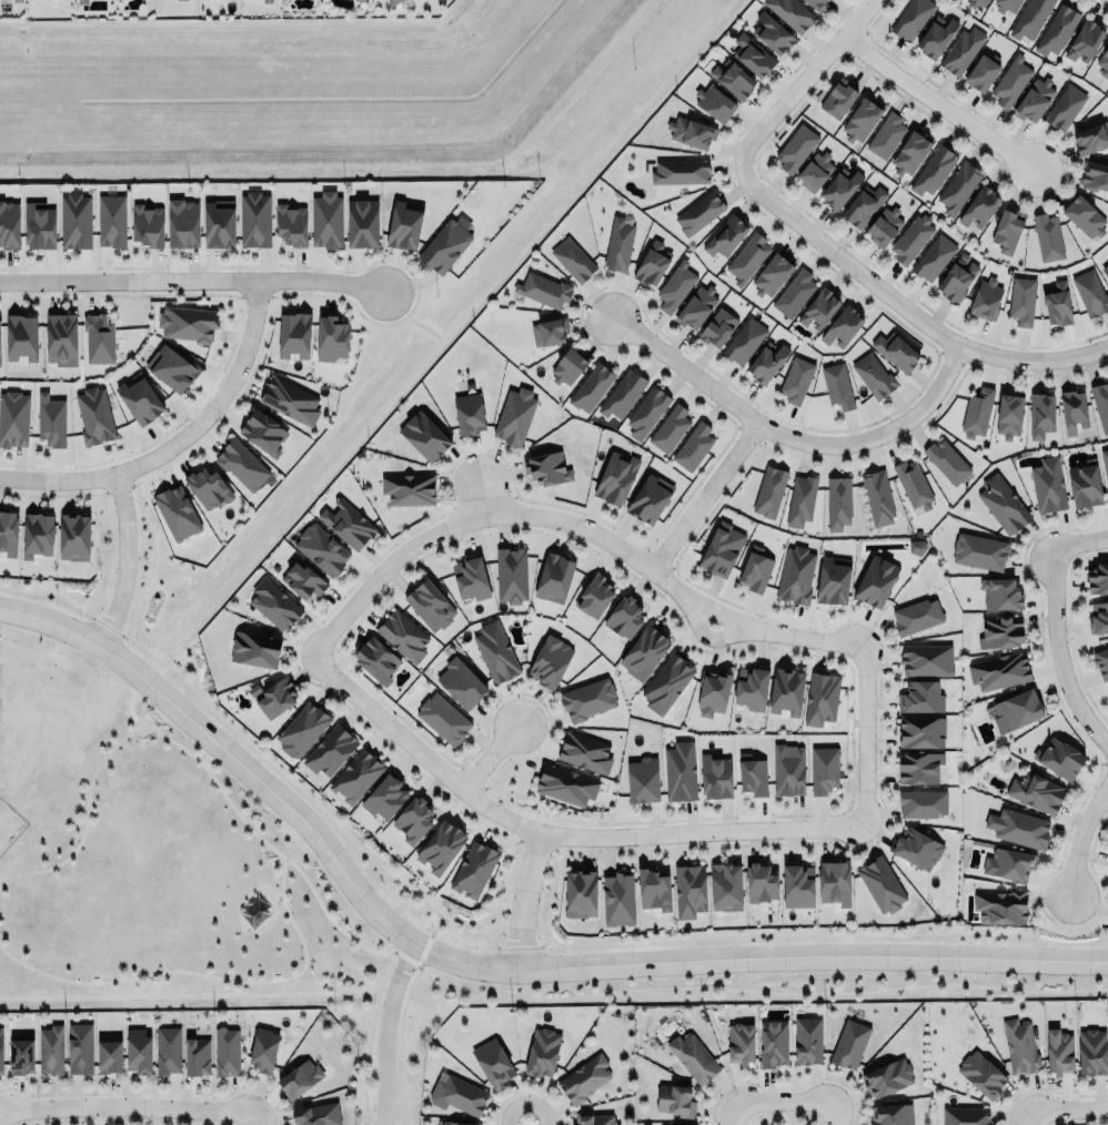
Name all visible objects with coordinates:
building: (181, 0)
building: (354, 0)
building: (82, 1)
building: (393, 1)
building: (976, 2)
building: (815, 3)
building: (1007, 4)
building: (790, 12)
building: (911, 18)
building: (1030, 18)
building: (1057, 30)
building: (772, 33)
building: (936, 36)
building: (1085, 40)
building: (961, 50)
building: (752, 54)
building: (1104, 61)
building: (981, 73)
building: (733, 78)
road: (803, 79)
building: (1010, 81)
building: (838, 97)
building: (1035, 98)
road: (938, 101)
building: (714, 102)
building: (1065, 105)
building: (862, 119)
building: (691, 132)
building: (886, 135)
building: (1091, 138)
building: (795, 148)
building: (909, 152)
building: (681, 170)
building: (933, 170)
building: (814, 171)
building: (1095, 175)
building: (958, 186)
building: (839, 187)
building: (863, 205)
building: (979, 206)
building: (699, 212)
building: (1084, 215)
building: (255, 219)
building: (326, 219)
building: (75, 221)
building: (111, 221)
building: (363, 222)
building: (183, 223)
building: (403, 223)
building: (147, 224)
building: (291, 224)
building: (9, 225)
building: (39, 225)
building: (218, 225)
building: (884, 225)
building: (1007, 230)
building: (726, 235)
building: (1047, 236)
building: (911, 239)
building: (445, 242)
building: (617, 242)
building: (934, 256)
building: (1107, 256)
building: (748, 257)
building: (573, 260)
building: (652, 263)
building: (1105, 268)
building: (772, 275)
road: (192, 277)
building: (956, 278)
building: (675, 285)
building: (543, 288)
building: (1090, 292)
building: (794, 293)
building: (986, 298)
building: (1023, 300)
building: (1056, 302)
road: (903, 305)
building: (696, 306)
building: (819, 308)
building: (187, 323)
building: (843, 325)
building: (717, 327)
building: (548, 332)
building: (294, 334)
building: (21, 336)
building: (331, 337)
building: (61, 338)
building: (98, 338)
building: (744, 341)
building: (896, 351)
building: (766, 362)
building: (0, 365)
building: (567, 366)
building: (171, 367)
building: (873, 375)
building: (795, 379)
building: (837, 385)
building: (592, 387)
building: (622, 394)
building: (140, 398)
building: (290, 401)
building: (1100, 404)
building: (1072, 409)
building: (646, 412)
building: (469, 413)
building: (977, 413)
building: (513, 414)
building: (1041, 414)
building: (94, 415)
building: (1009, 415)
building: (13, 418)
building: (51, 420)
building: (669, 428)
building: (263, 432)
road: (788, 433)
building: (424, 436)
road: (178, 438)
building: (693, 446)
building: (946, 460)
building: (1105, 463)
building: (241, 464)
building: (547, 467)
building: (616, 478)
building: (913, 484)
road: (320, 485)
building: (1048, 485)
building: (1085, 486)
building: (207, 487)
building: (409, 488)
building: (769, 490)
road: (482, 493)
road: (704, 495)
building: (877, 497)
building: (649, 498)
building: (800, 499)
building: (838, 503)
building: (1003, 504)
building: (175, 510)
road: (574, 523)
building: (347, 524)
building: (9, 533)
building: (38, 535)
road: (1078, 536)
building: (74, 537)
building: (721, 548)
building: (321, 549)
building: (979, 550)
road: (125, 559)
building: (755, 569)
building: (511, 574)
building: (796, 575)
building: (554, 577)
building: (471, 578)
building: (1098, 578)
building: (832, 579)
building: (303, 580)
building: (876, 580)
building: (595, 590)
building: (1000, 591)
building: (271, 600)
building: (430, 605)
building: (624, 614)
building: (917, 616)
building: (1098, 617)
building: (1000, 631)
building: (402, 636)
road: (707, 636)
road: (135, 645)
building: (255, 649)
road: (1052, 651)
building: (495, 652)
building: (644, 652)
building: (376, 659)
building: (926, 659)
building: (550, 661)
building: (1101, 661)
road: (57, 665)
building: (998, 670)
building: (461, 682)
building: (666, 683)
building: (752, 687)
building: (786, 691)
building: (713, 693)
building: (273, 697)
building: (920, 697)
building: (820, 698)
building: (587, 699)
building: (1016, 710)
building: (442, 718)
building: (302, 729)
building: (920, 731)
road: (865, 736)
building: (329, 748)
building: (583, 749)
road: (488, 757)
building: (1059, 758)
building: (919, 767)
building: (787, 768)
building: (824, 769)
building: (678, 770)
building: (752, 774)
building: (356, 776)
building: (716, 777)
building: (643, 780)
building: (564, 782)
building: (1036, 791)
building: (384, 795)
building: (923, 803)
road: (84, 819)
building: (413, 819)
building: (1018, 827)
road: (555, 833)
road: (1078, 834)
building: (441, 848)
building: (916, 848)
building: (1009, 864)
building: (473, 870)
building: (761, 883)
building: (835, 883)
building: (725, 884)
building: (797, 884)
building: (880, 884)
building: (580, 890)
building: (654, 890)
building: (689, 890)
park: (170, 892)
road: (271, 894)
road: (522, 899)
building: (618, 899)
building: (1000, 906)
road: (485, 934)
road: (487, 964)
road: (204, 973)
road: (555, 996)
road: (386, 1030)
building: (807, 1040)
building: (741, 1043)
building: (773, 1043)
building: (849, 1044)
building: (1019, 1044)
building: (80, 1047)
building: (1091, 1048)
building: (50, 1050)
building: (168, 1050)
building: (263, 1050)
building: (1, 1051)
building: (139, 1051)
building: (226, 1051)
building: (542, 1052)
building: (1058, 1052)
building: (20, 1056)
building: (197, 1056)
building: (109, 1057)
building: (693, 1057)
building: (492, 1058)
building: (981, 1074)
building: (886, 1076)
building: (584, 1077)
building: (300, 1078)
building: (457, 1094)
building: (675, 1098)
road: (784, 1103)
road: (127, 1105)
road: (1071, 1113)
building: (318, 1114)
road: (732, 1114)
road: (836, 1114)
building: (890, 1114)
road: (254, 1116)
building: (966, 1116)
building: (593, 1118)
road: (1035, 1118)
road: (523, 1121)
building: (456, 1122)
building: (682, 1123)

